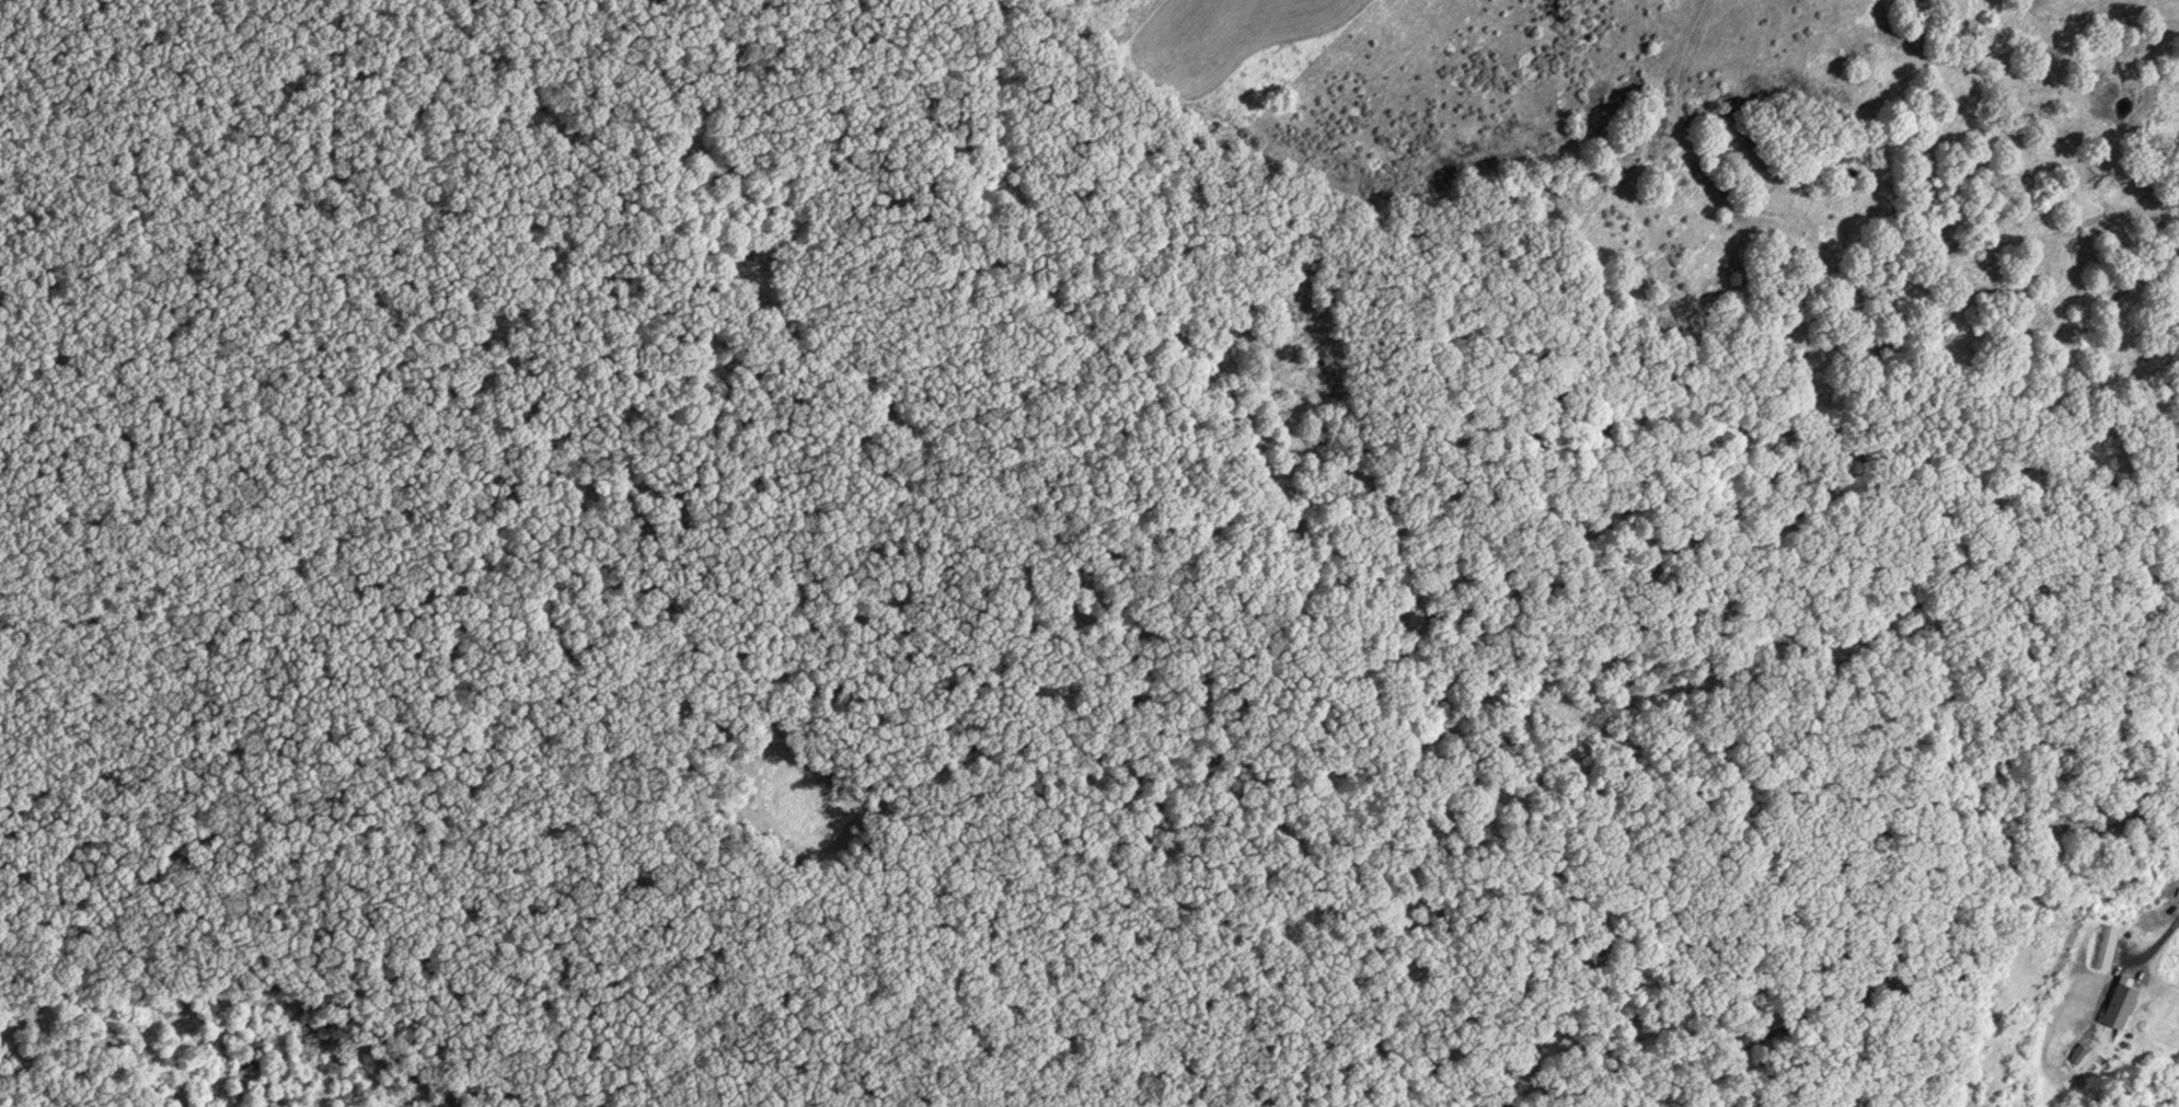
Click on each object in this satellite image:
building: (2106, 945)
building: (2120, 1004)

